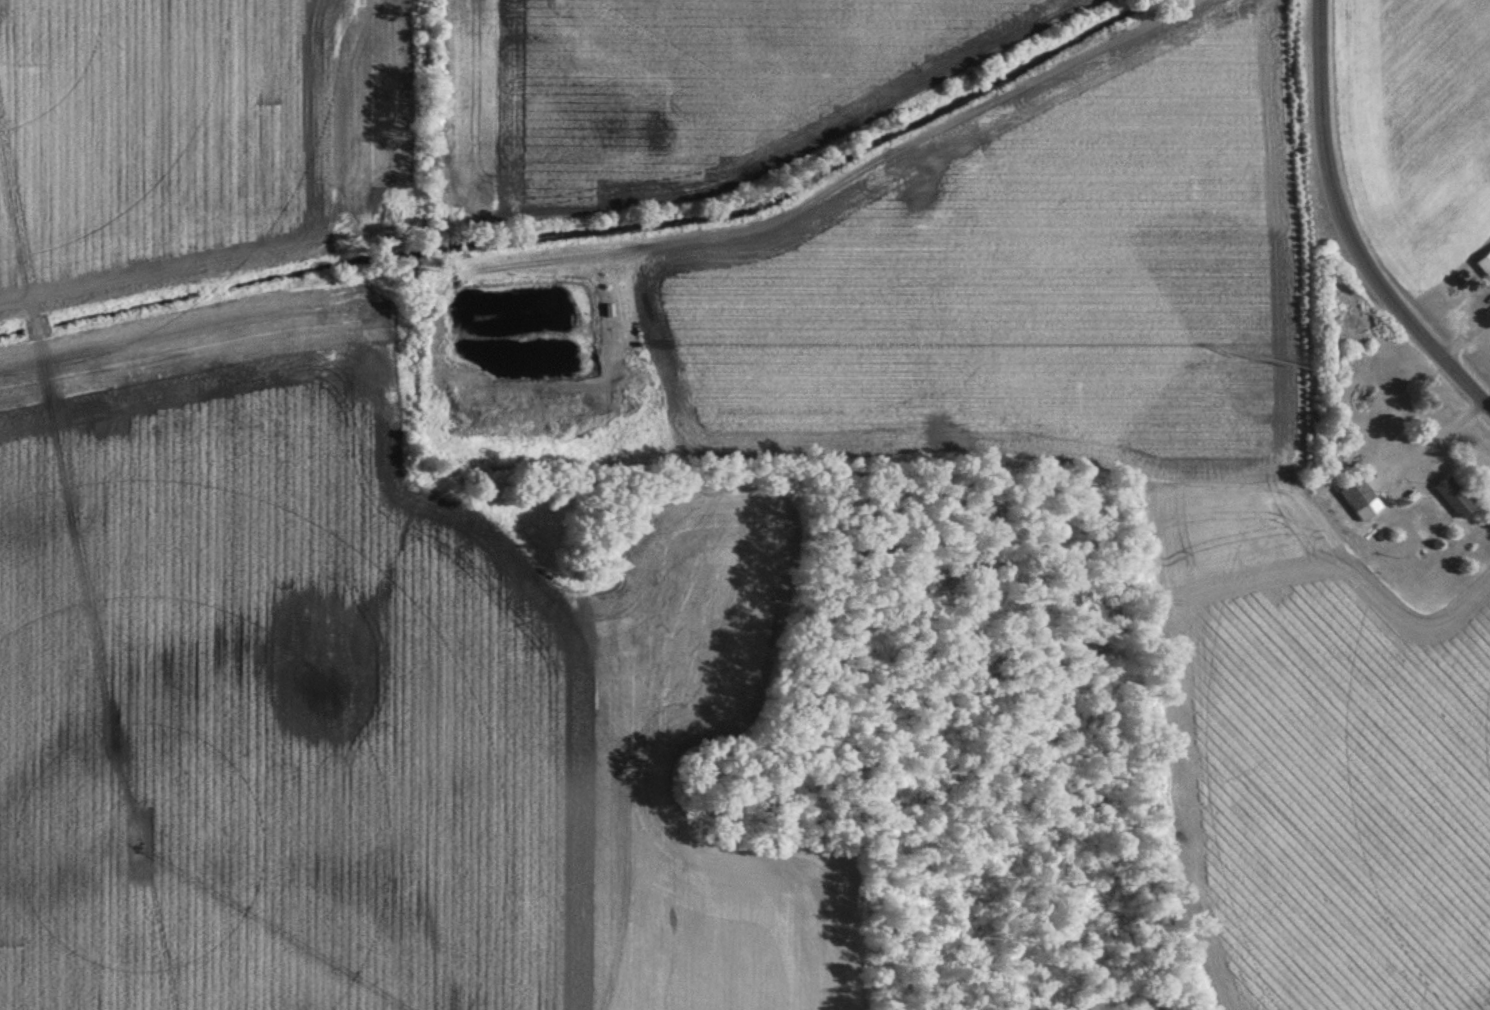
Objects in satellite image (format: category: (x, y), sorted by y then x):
road: (1344, 228)
building: (1482, 266)
building: (1449, 498)
building: (1356, 500)

